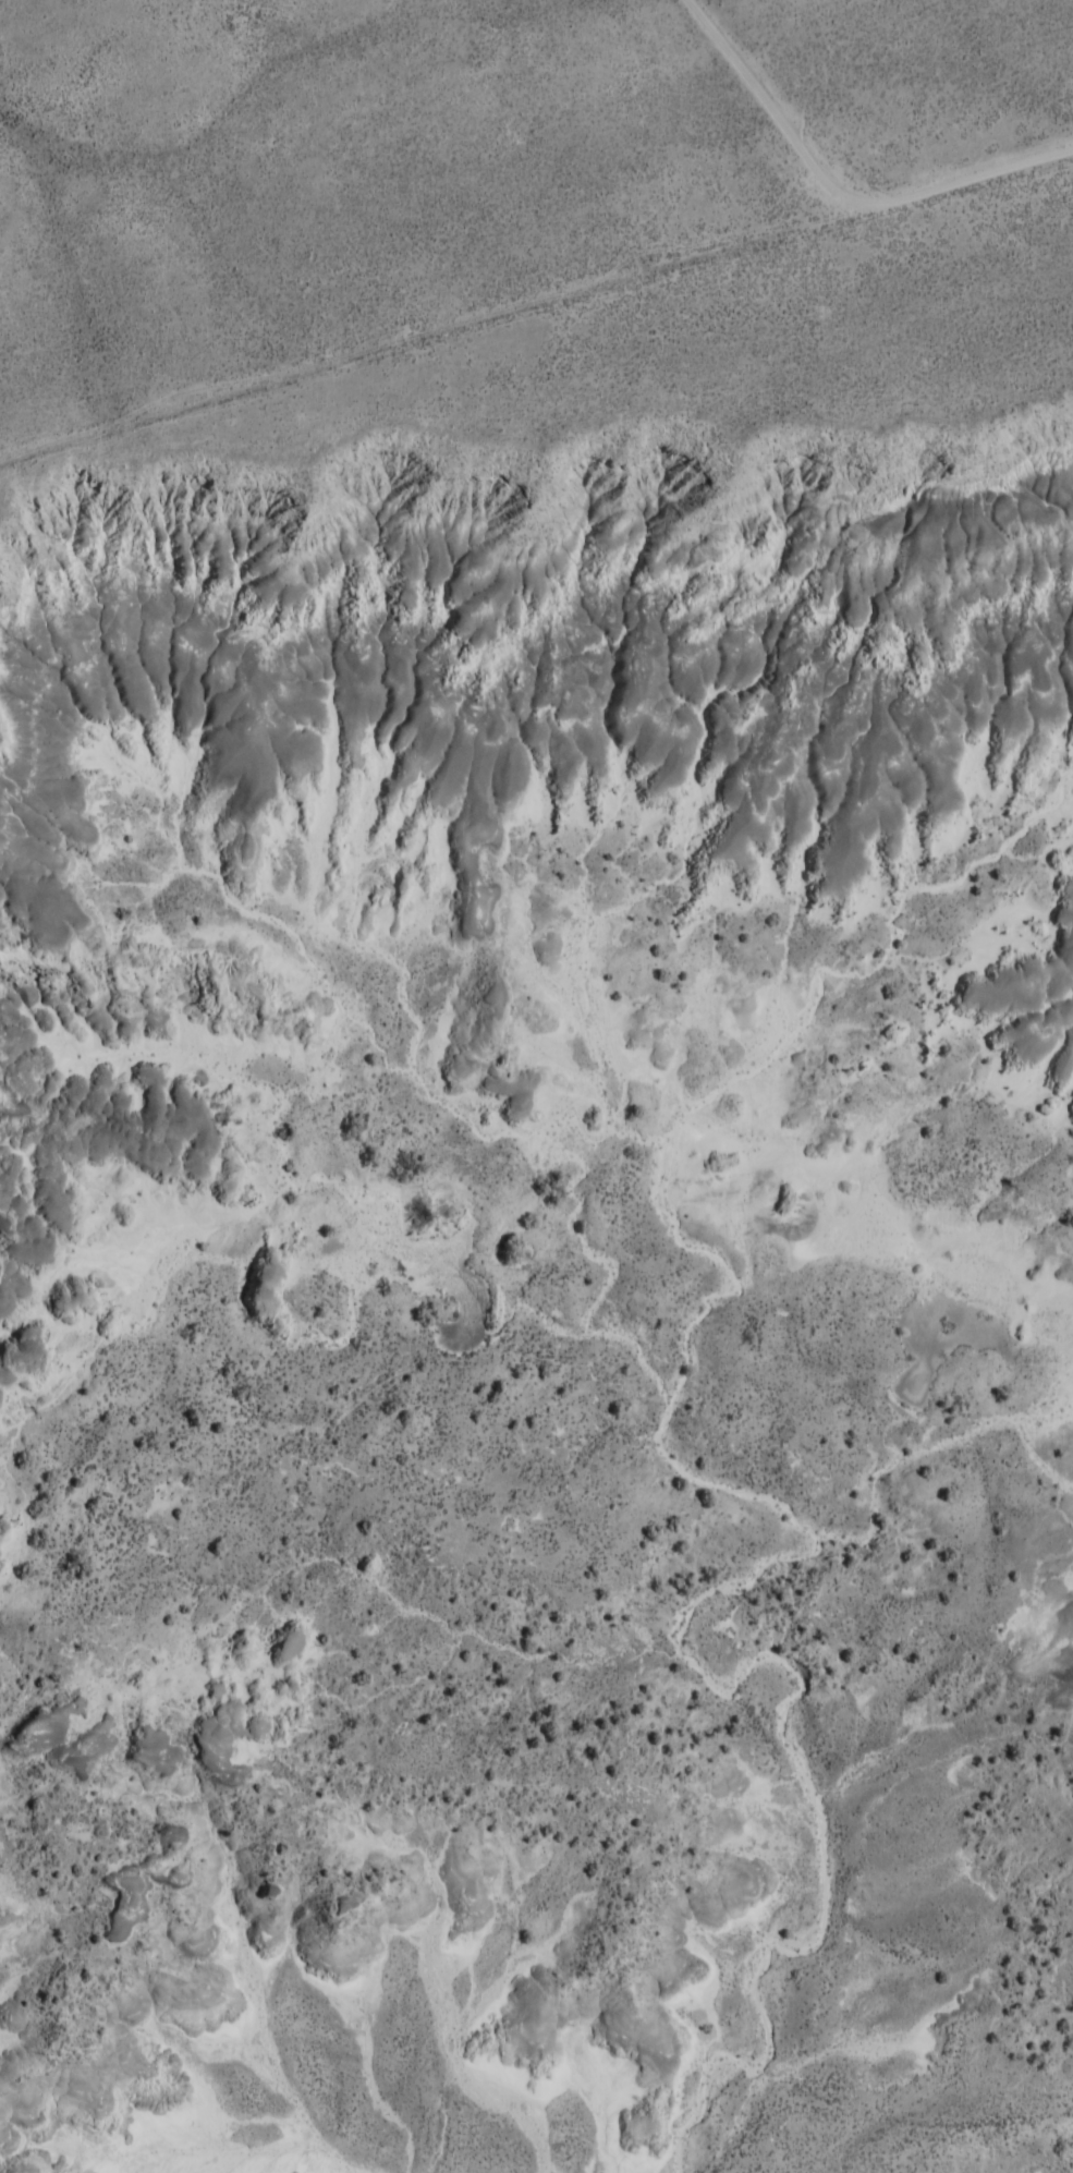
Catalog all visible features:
road: (536, 256)

